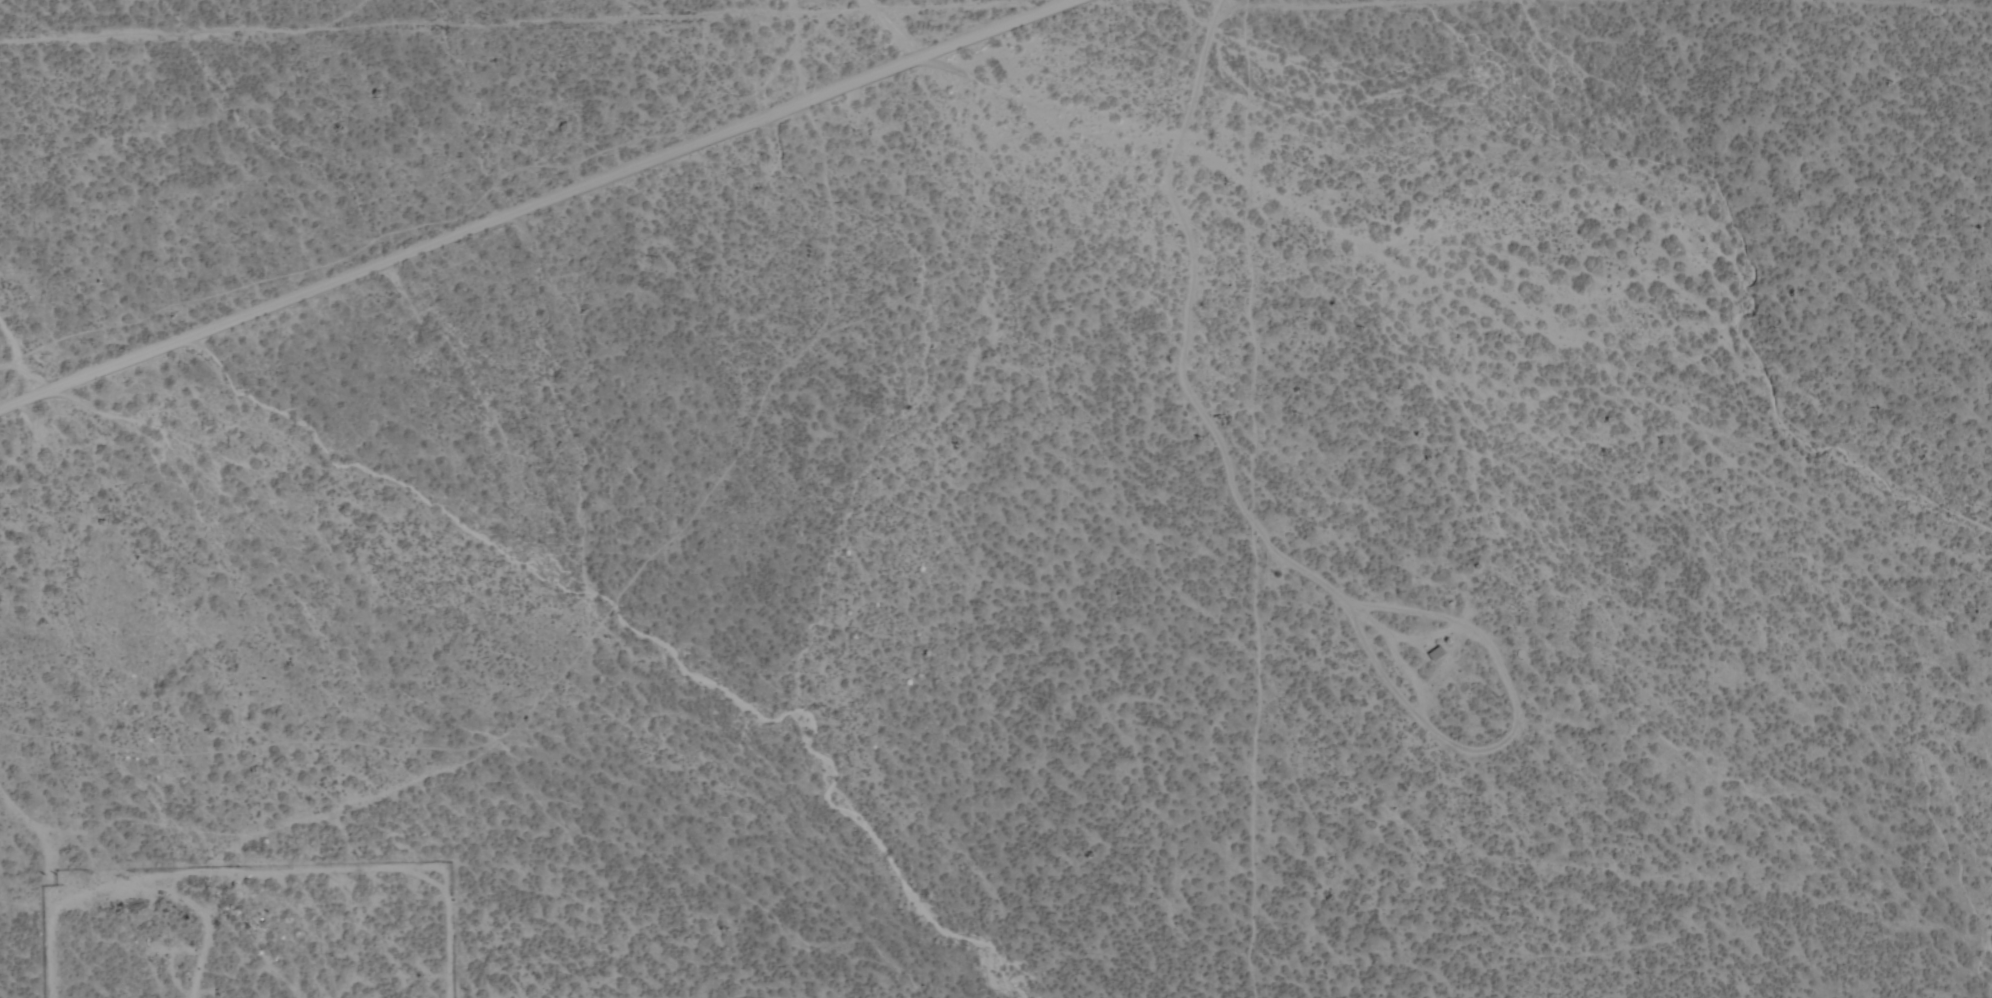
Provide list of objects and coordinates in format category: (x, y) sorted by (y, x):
road: (1046, 8)
road: (512, 35)
road: (512, 210)
road: (162, 901)

